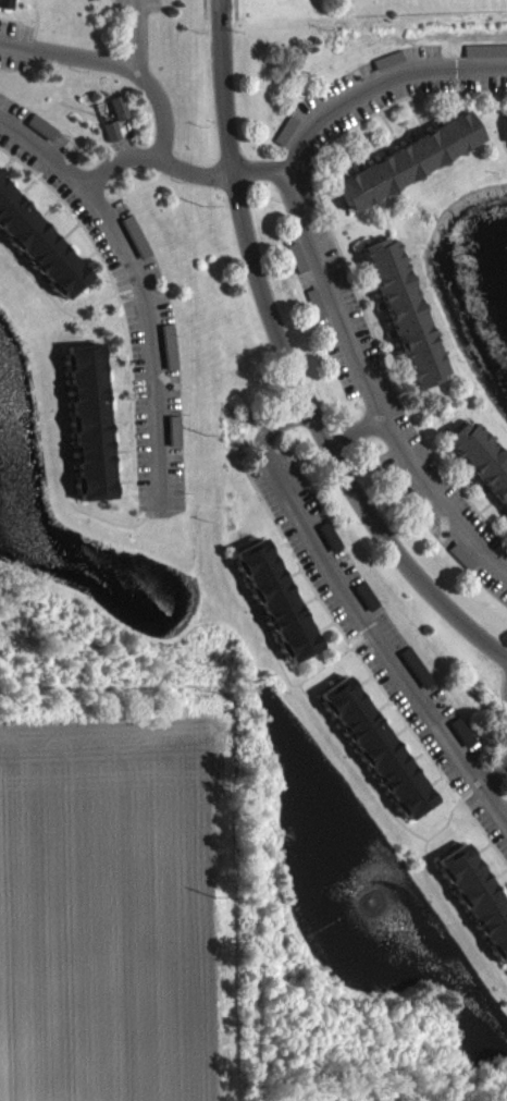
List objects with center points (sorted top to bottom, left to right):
building: (345, 0)
road: (203, 8)
building: (3, 9)
road: (69, 53)
road: (148, 82)
building: (115, 120)
building: (108, 143)
road: (296, 151)
building: (405, 173)
building: (37, 257)
road: (134, 282)
building: (401, 323)
road: (288, 364)
road: (372, 383)
road: (354, 426)
building: (85, 433)
building: (480, 473)
road: (359, 611)
building: (272, 612)
building: (372, 760)
road: (491, 773)
building: (475, 912)

